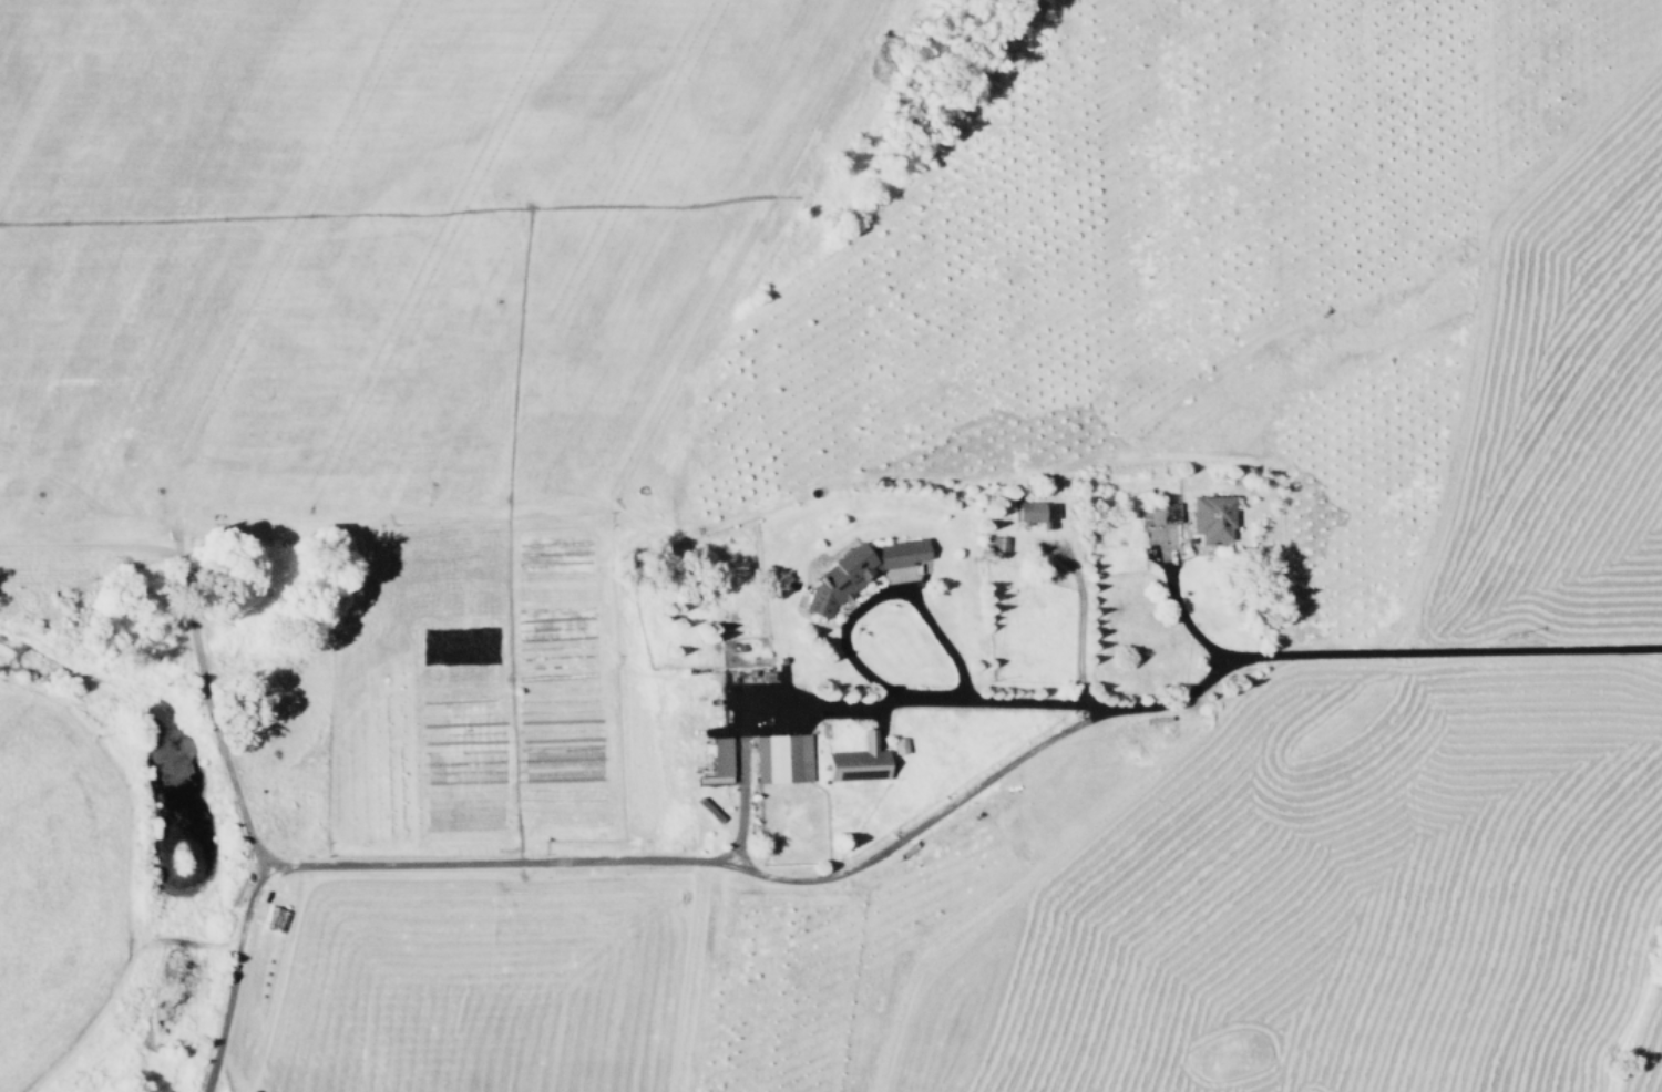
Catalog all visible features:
building: (1035, 511)
building: (1210, 522)
building: (854, 570)
road: (882, 591)
road: (1186, 620)
road: (1079, 621)
road: (1196, 686)
building: (897, 744)
building: (719, 756)
building: (781, 758)
building: (859, 761)
road: (740, 793)
road: (238, 802)
road: (603, 859)

